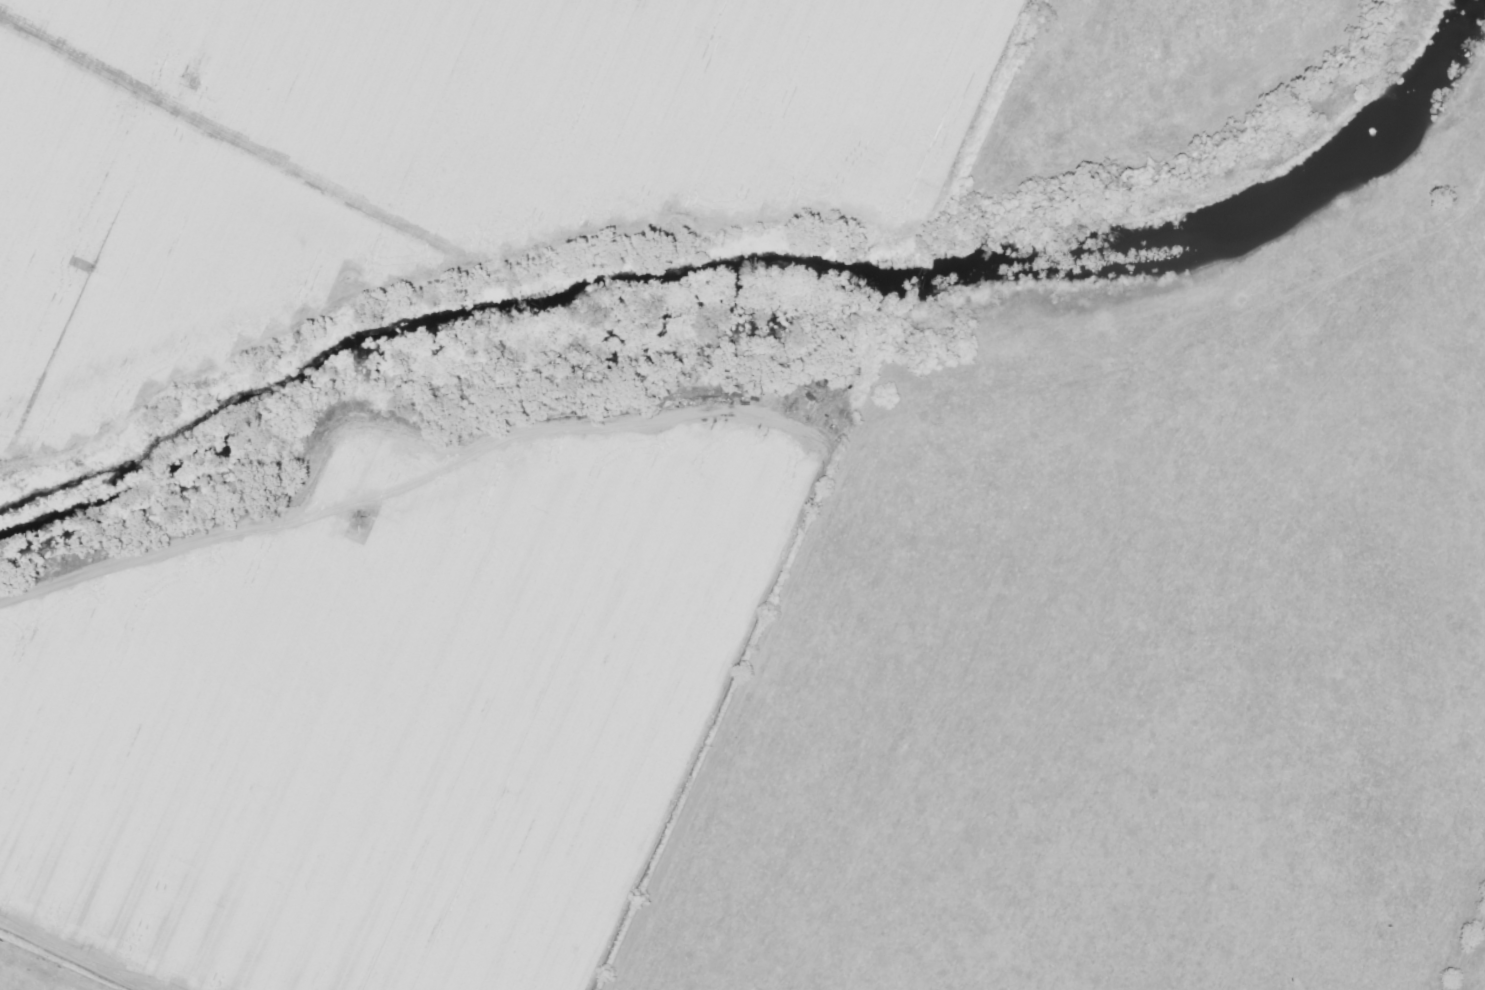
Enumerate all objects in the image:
road: (1218, 320)

